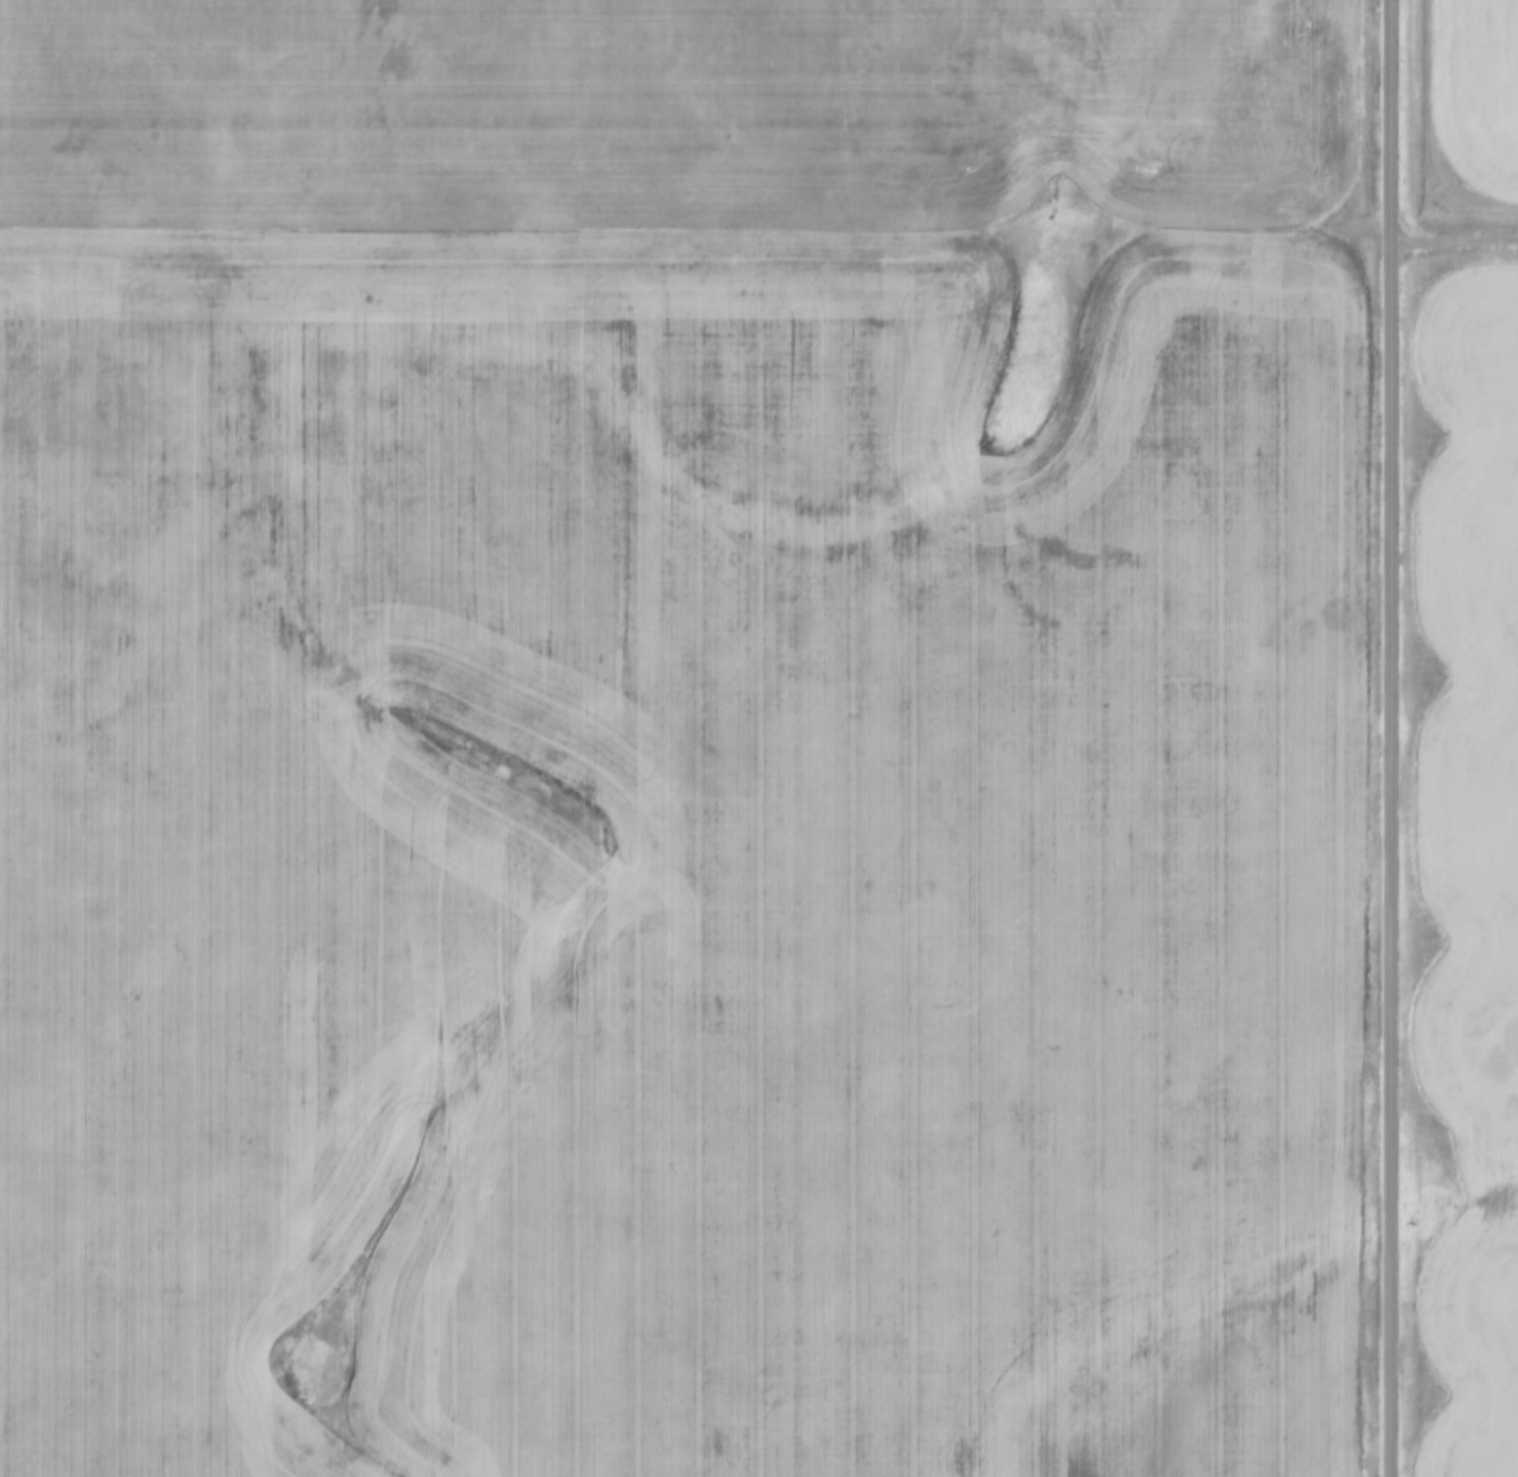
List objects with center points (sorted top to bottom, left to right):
road: (1453, 237)
road: (1387, 738)

